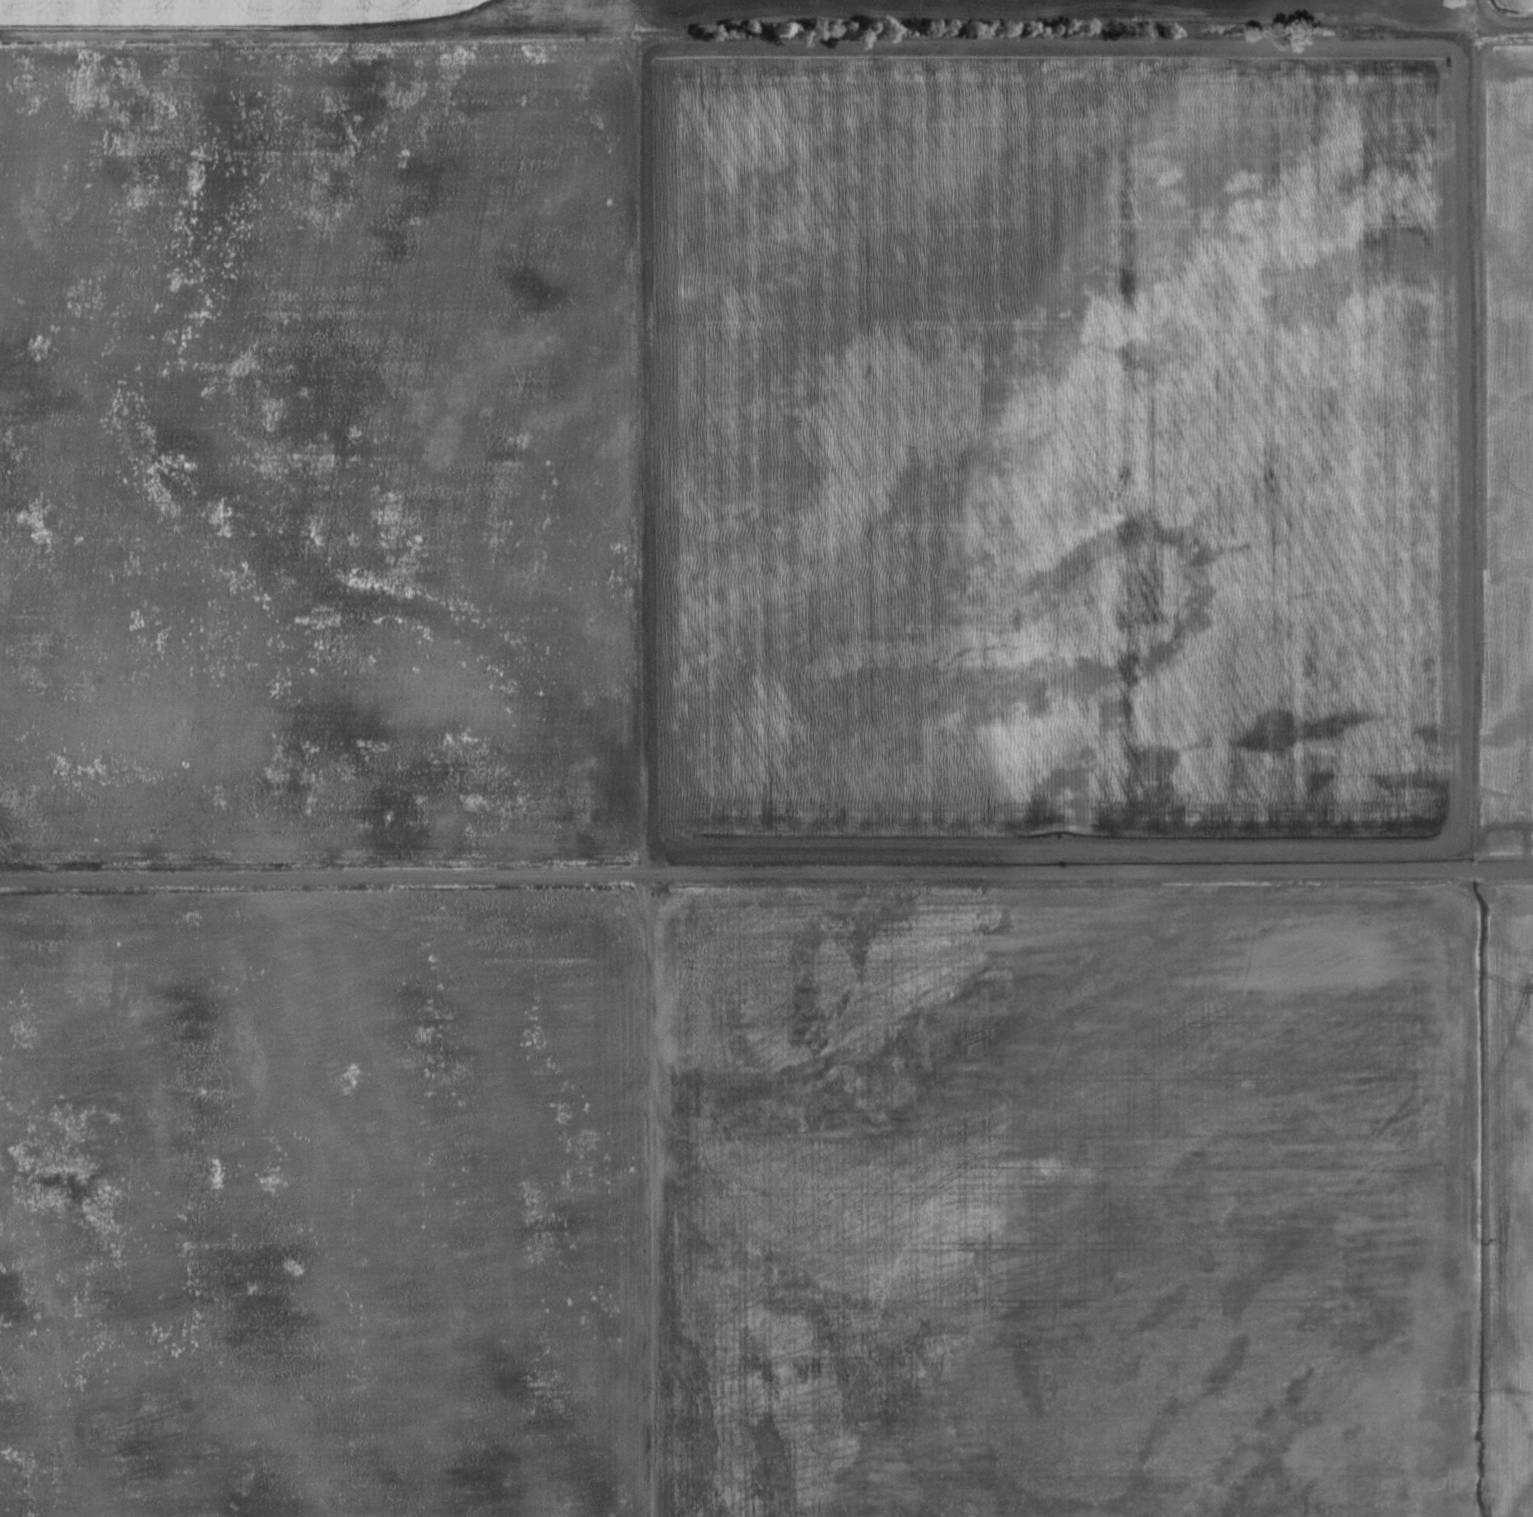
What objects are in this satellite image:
road: (766, 877)

